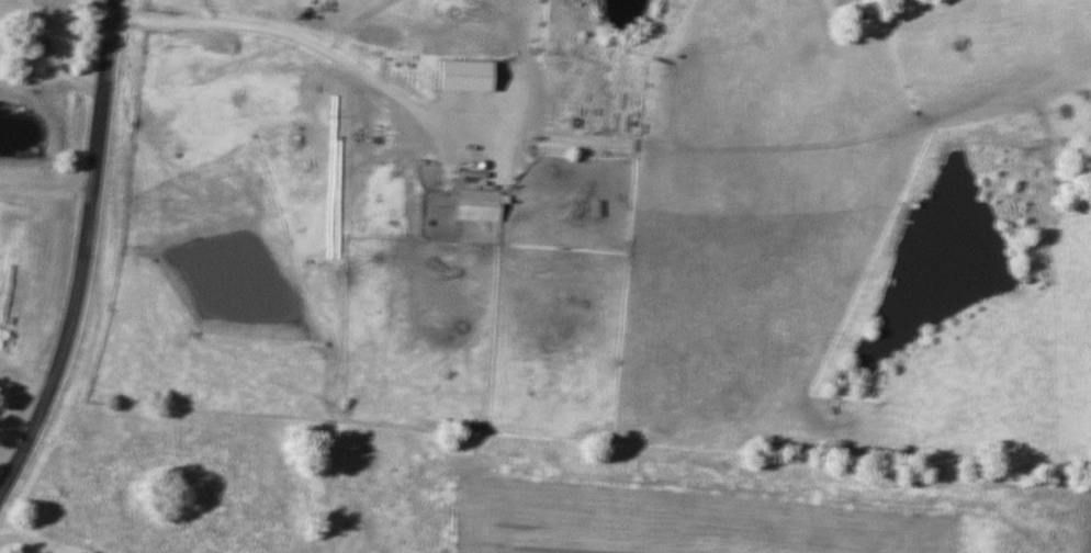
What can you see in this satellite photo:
road: (304, 44)
building: (468, 76)
building: (480, 206)
road: (85, 251)

